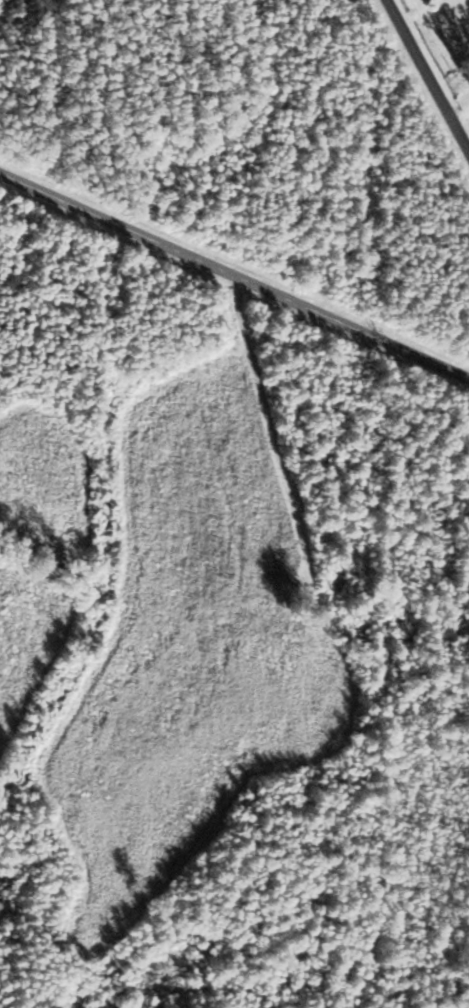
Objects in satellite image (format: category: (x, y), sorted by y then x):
road: (427, 75)
road: (234, 276)

